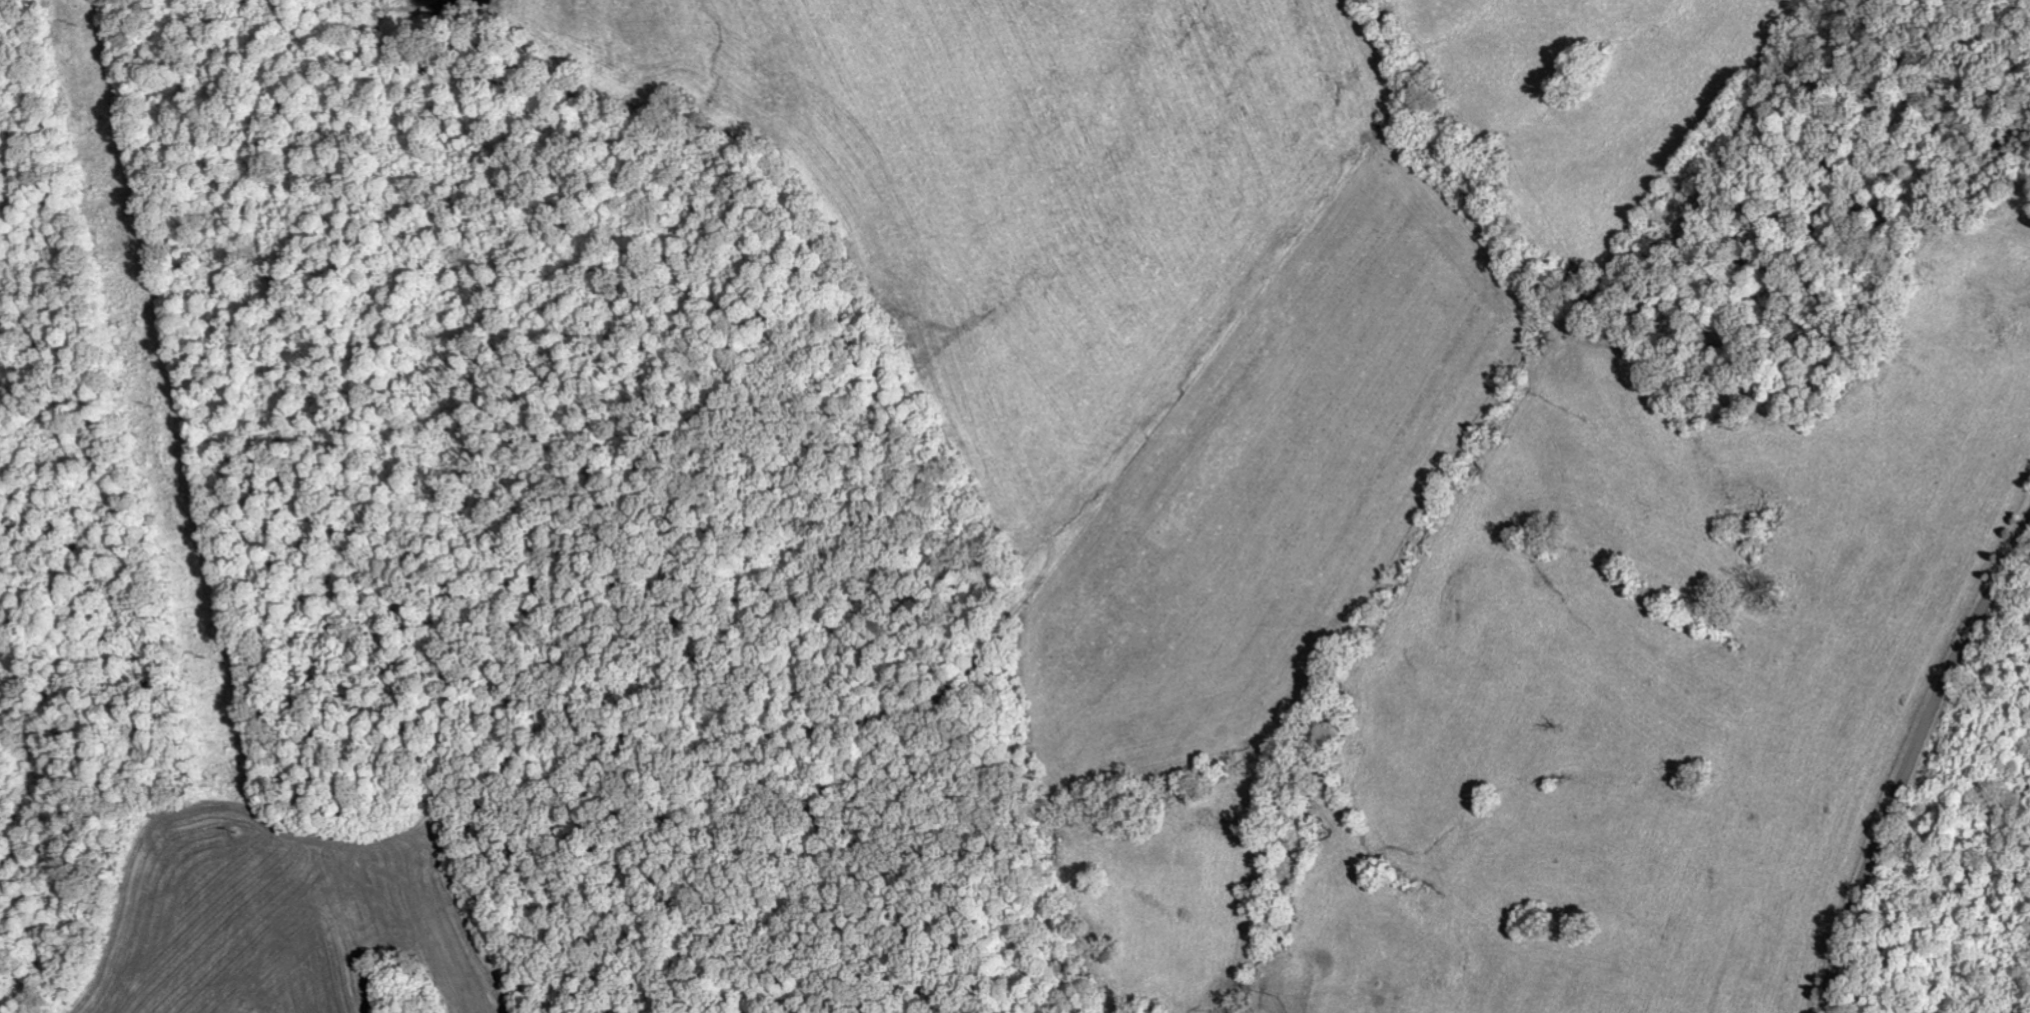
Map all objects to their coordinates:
road: (1912, 762)

